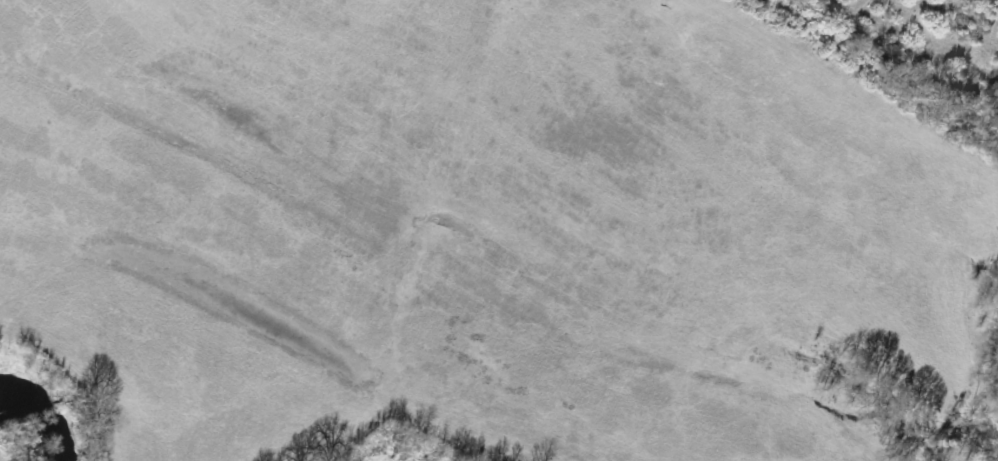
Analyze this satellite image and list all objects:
river: (45, 410)

